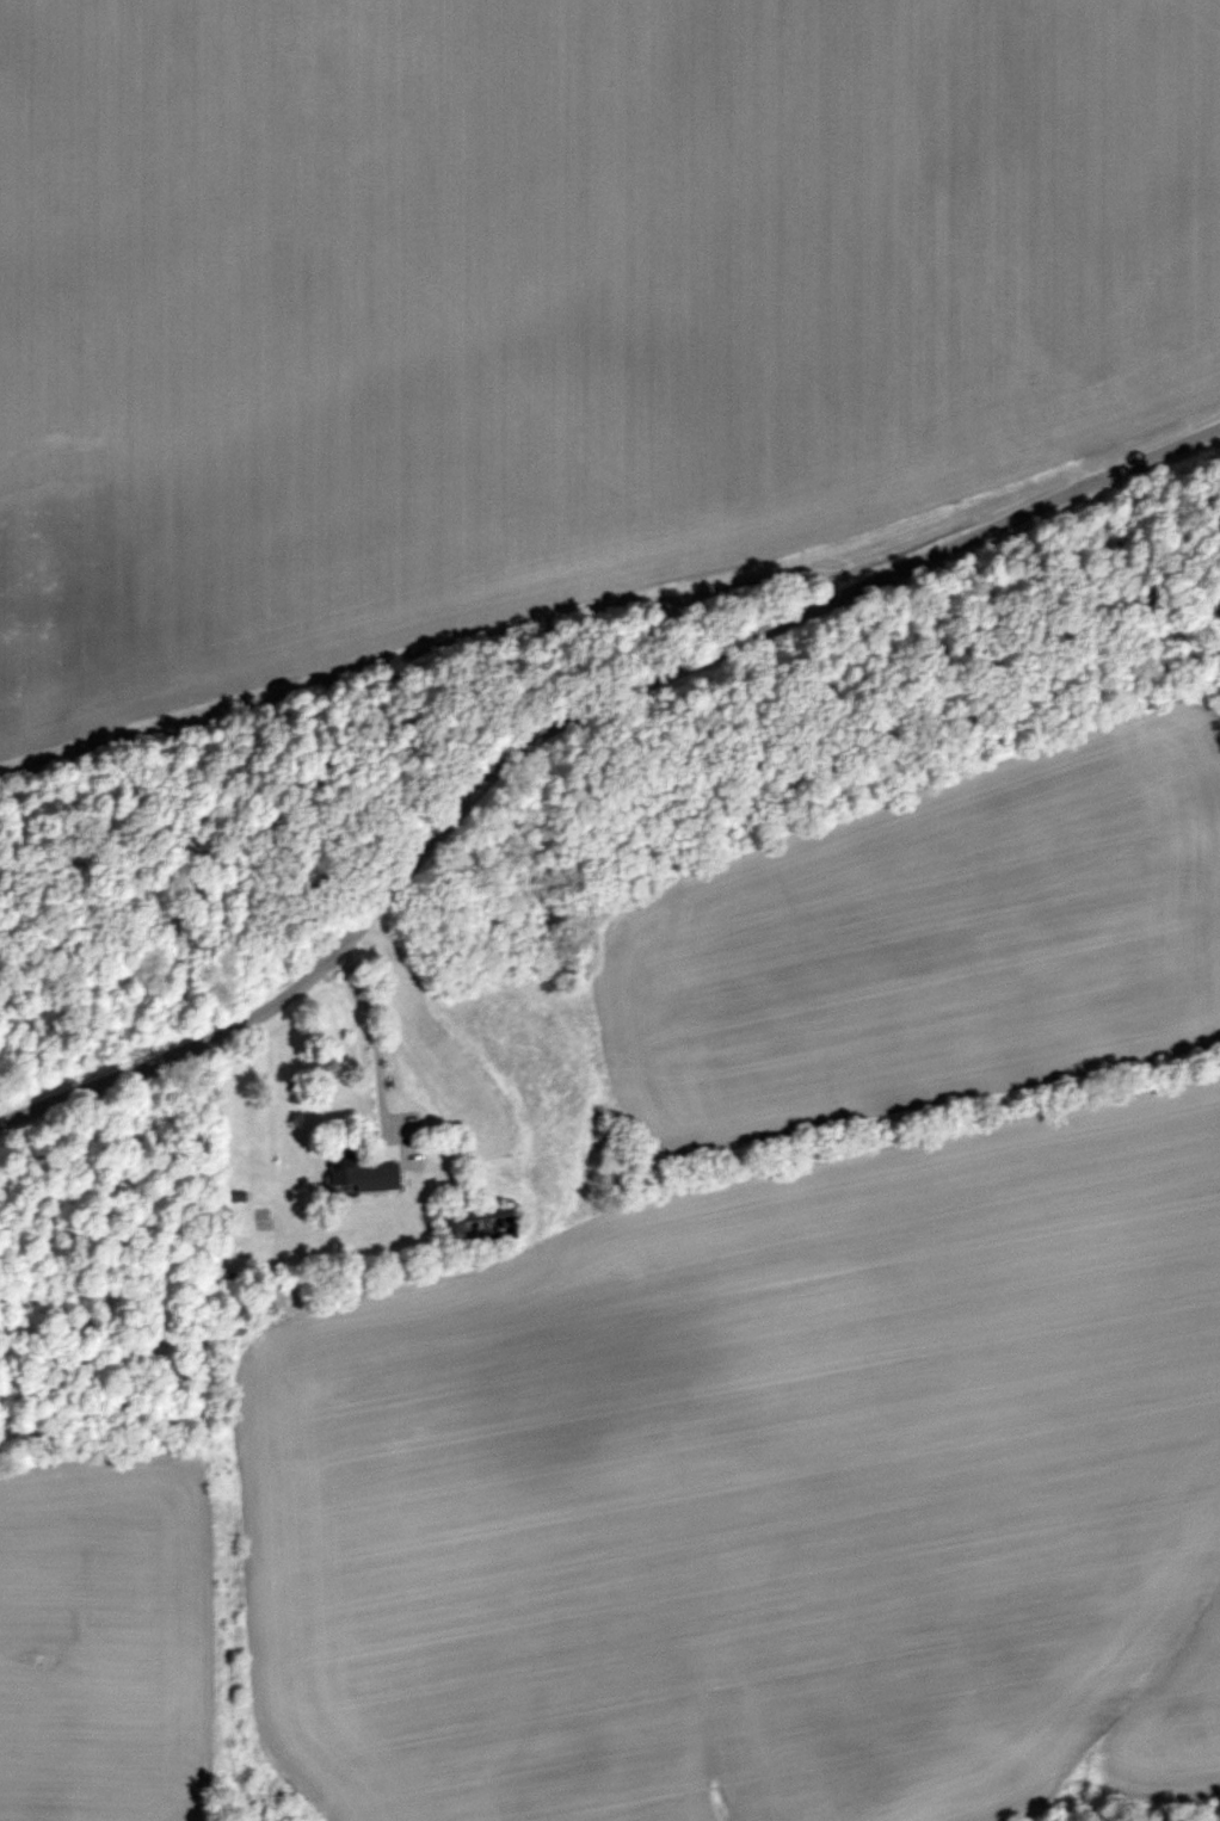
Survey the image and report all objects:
crop: (550, 304)
road: (566, 722)
road: (372, 1036)
building: (366, 1174)
building: (487, 1218)

